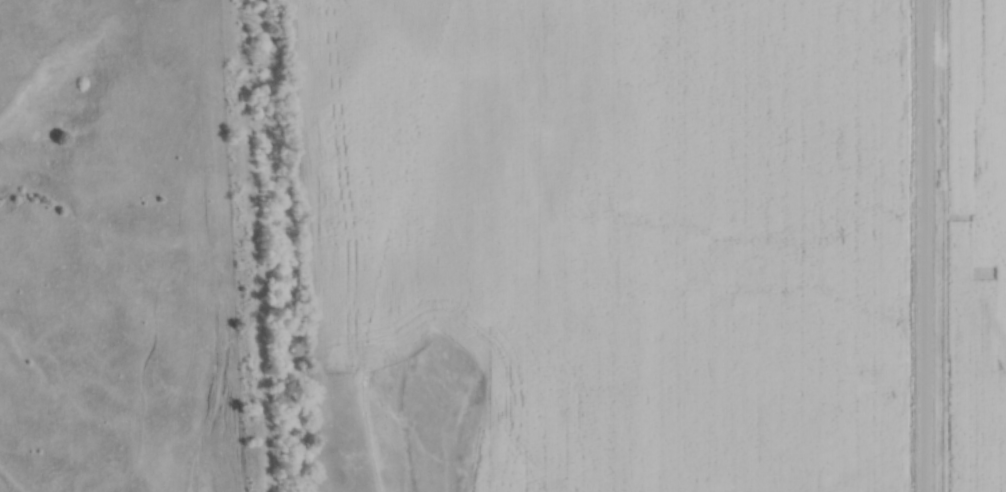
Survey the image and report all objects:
road: (925, 246)

